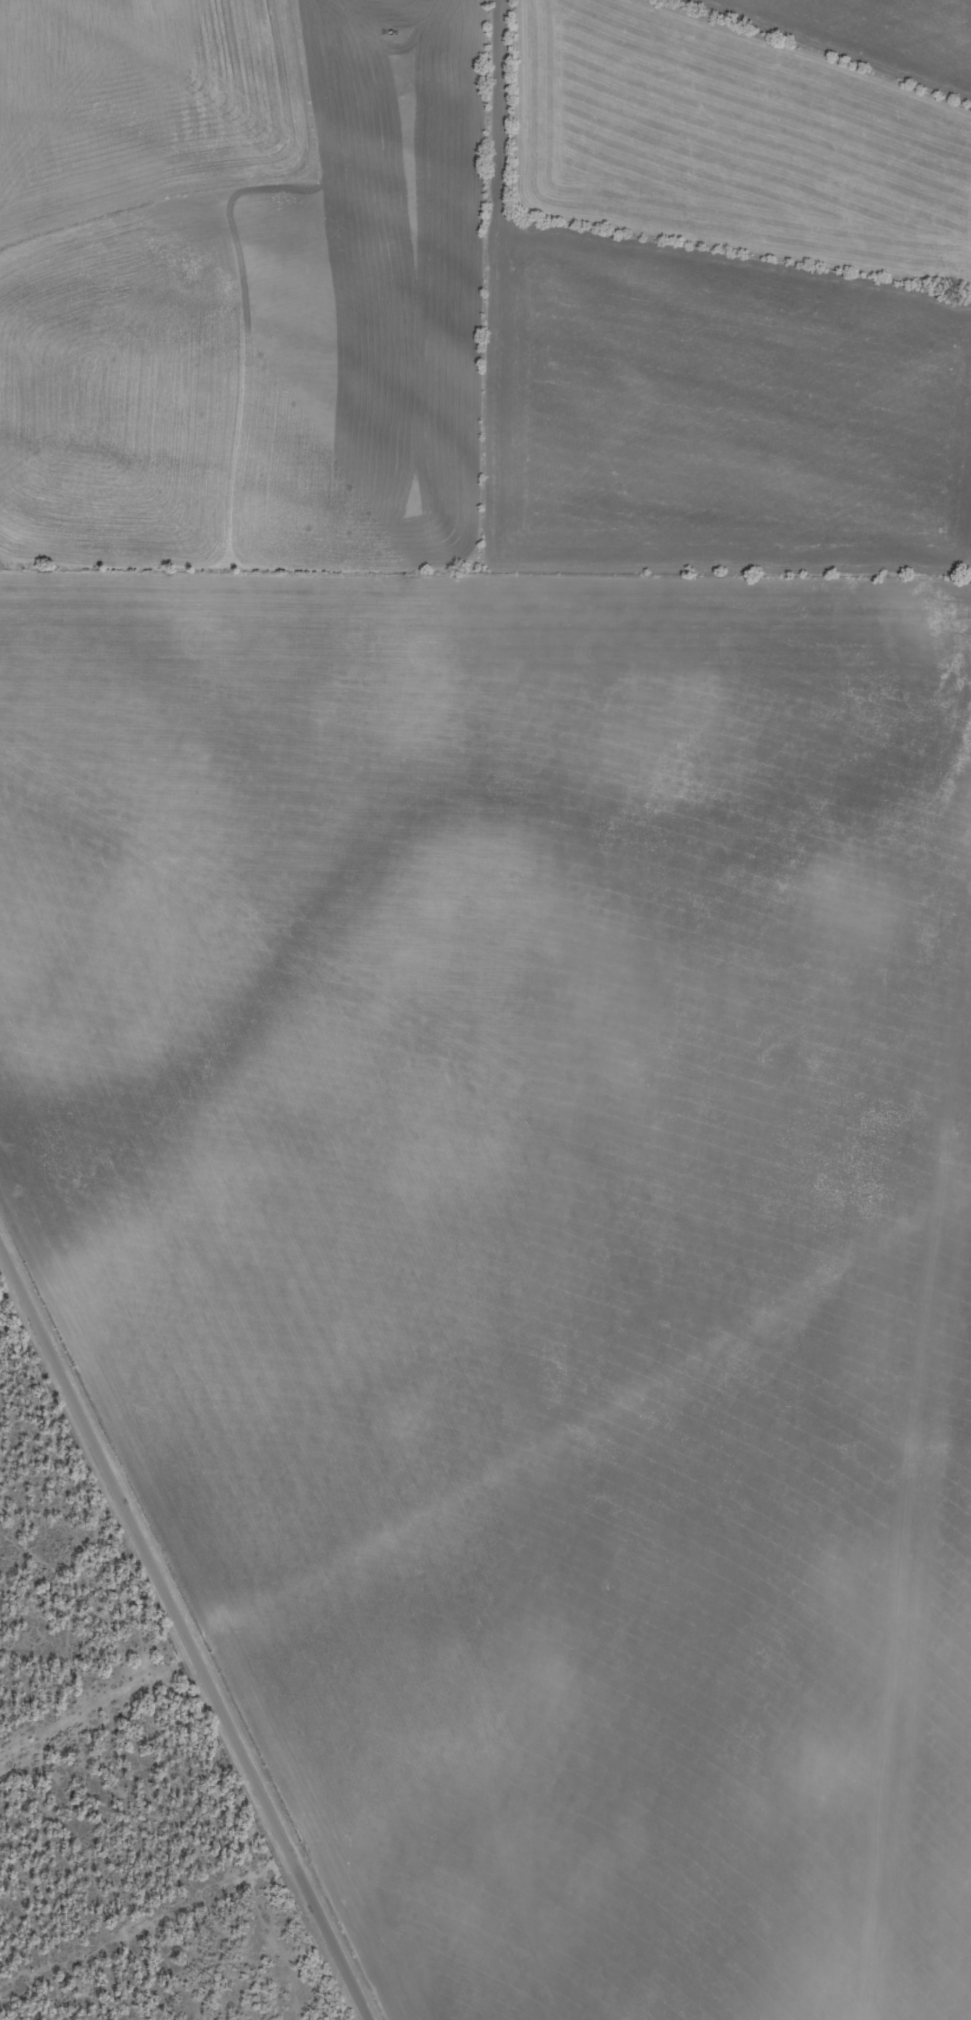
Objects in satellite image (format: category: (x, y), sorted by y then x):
road: (164, 1665)
road: (133, 1926)

